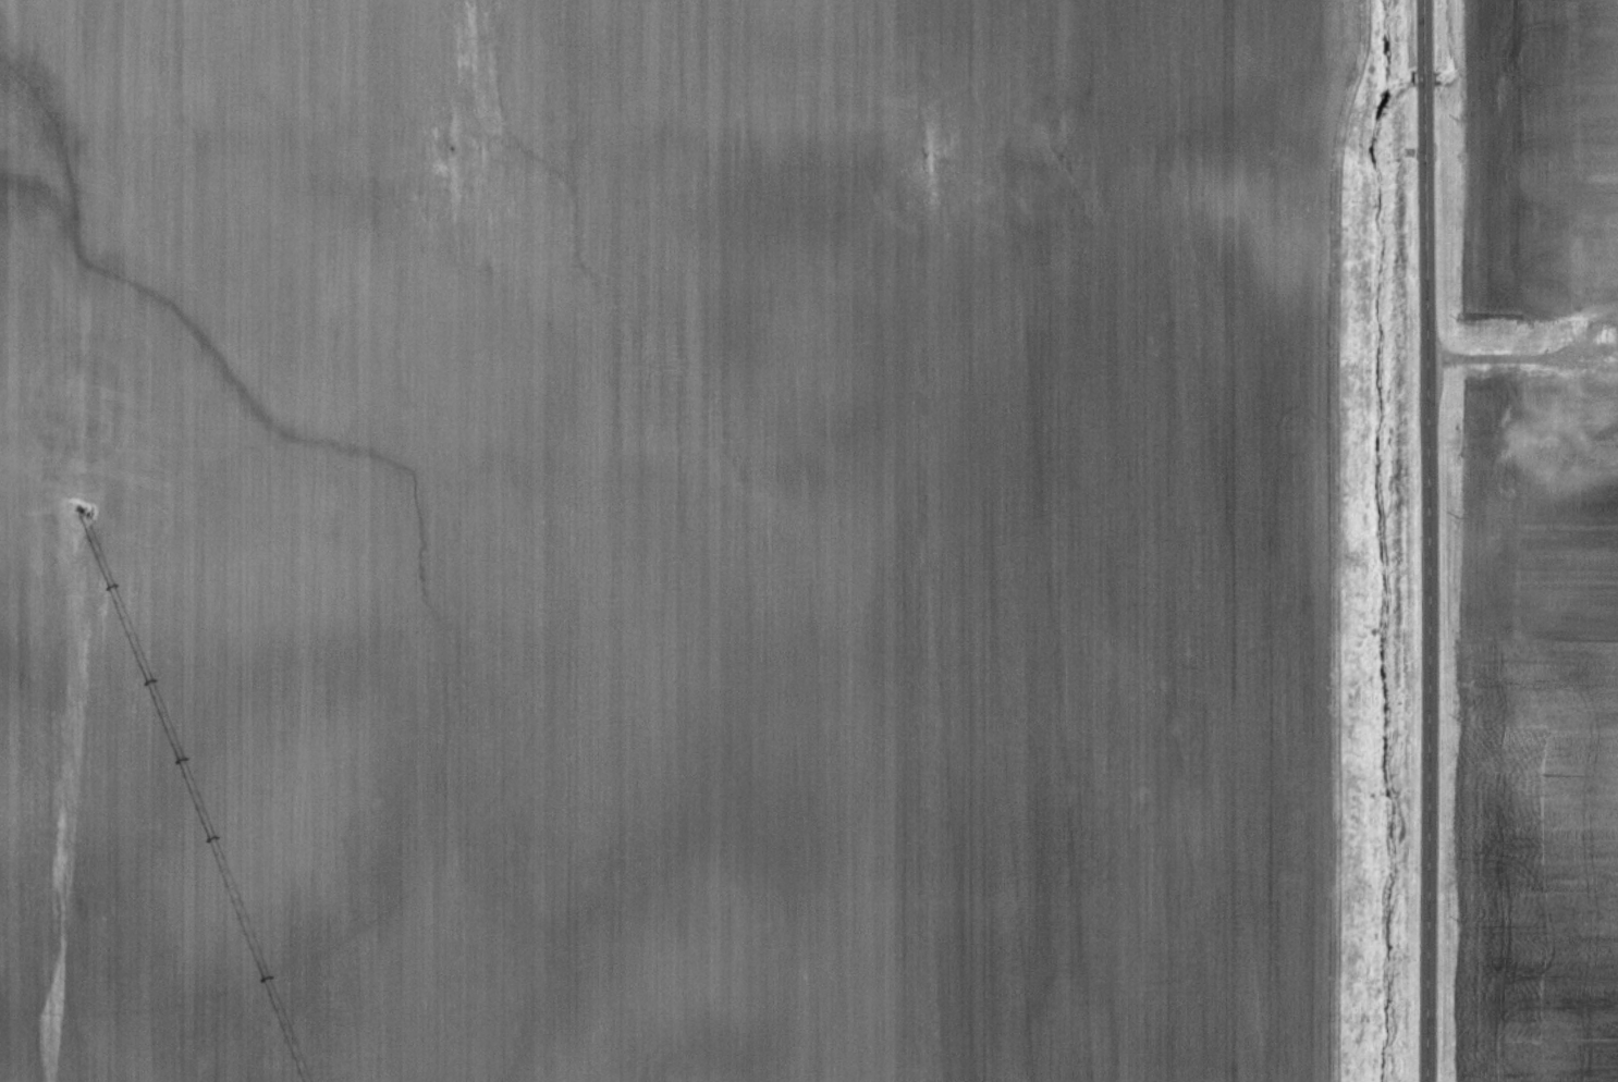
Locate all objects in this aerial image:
road: (1423, 541)

